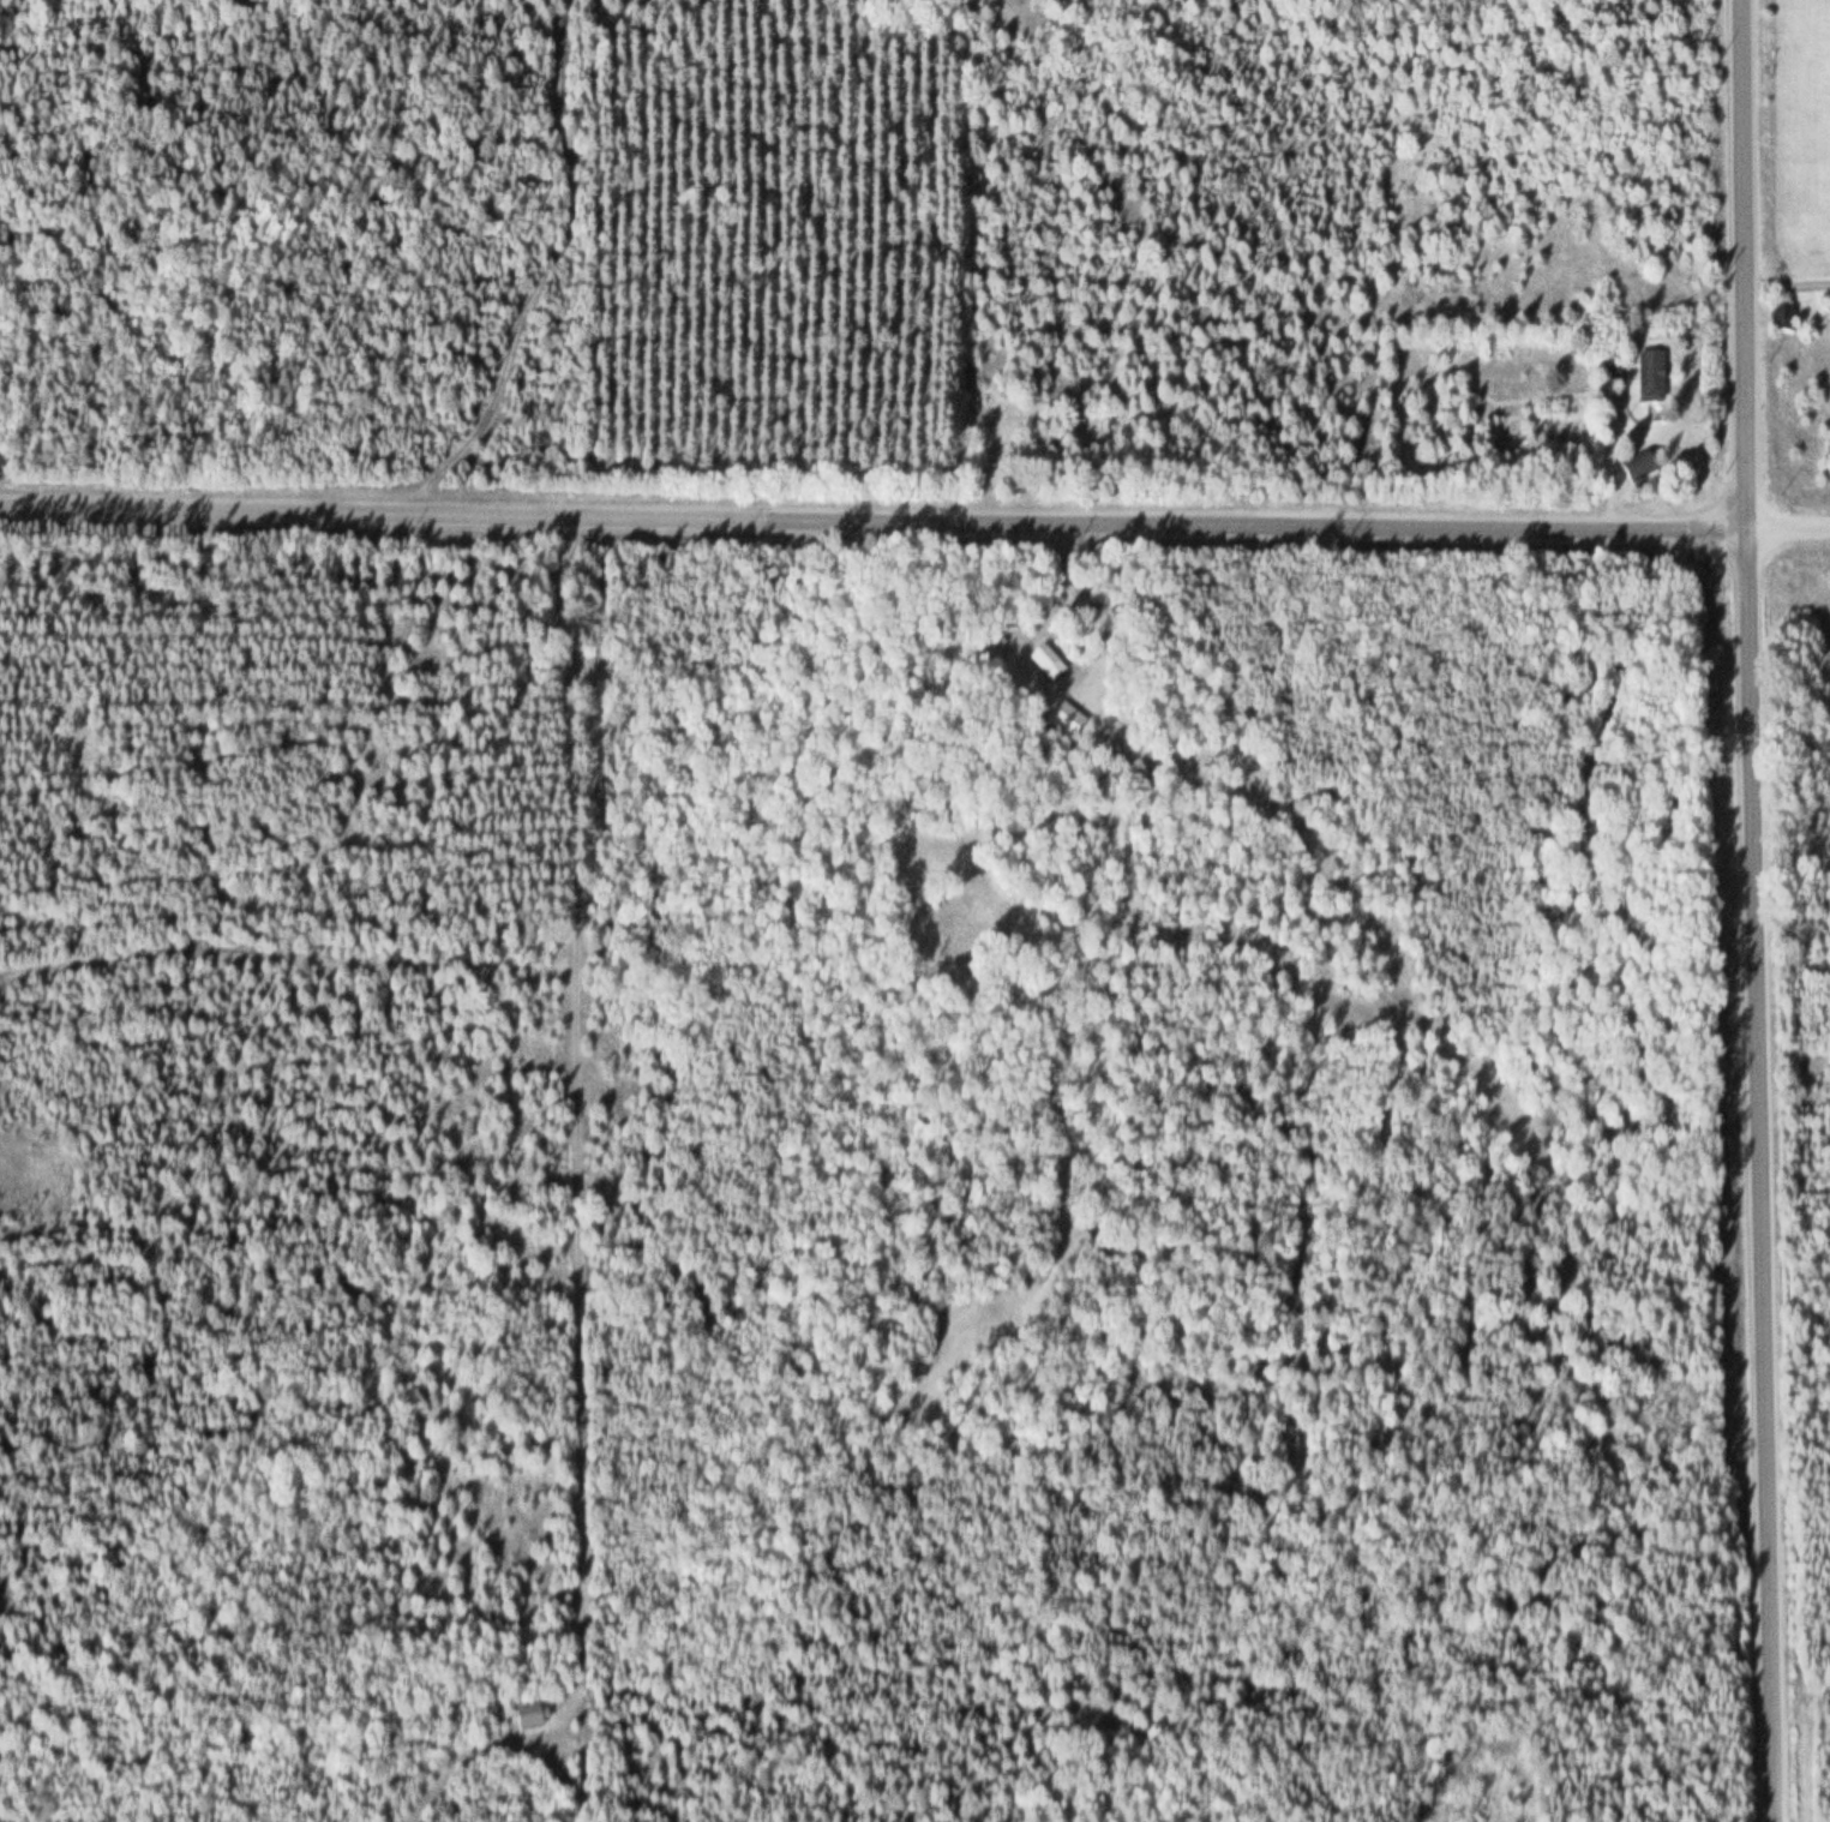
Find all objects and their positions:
road: (553, 269)
building: (1778, 319)
building: (1648, 379)
building: (1634, 468)
road: (880, 522)
road: (1795, 538)
building: (1039, 661)
road: (1765, 910)

